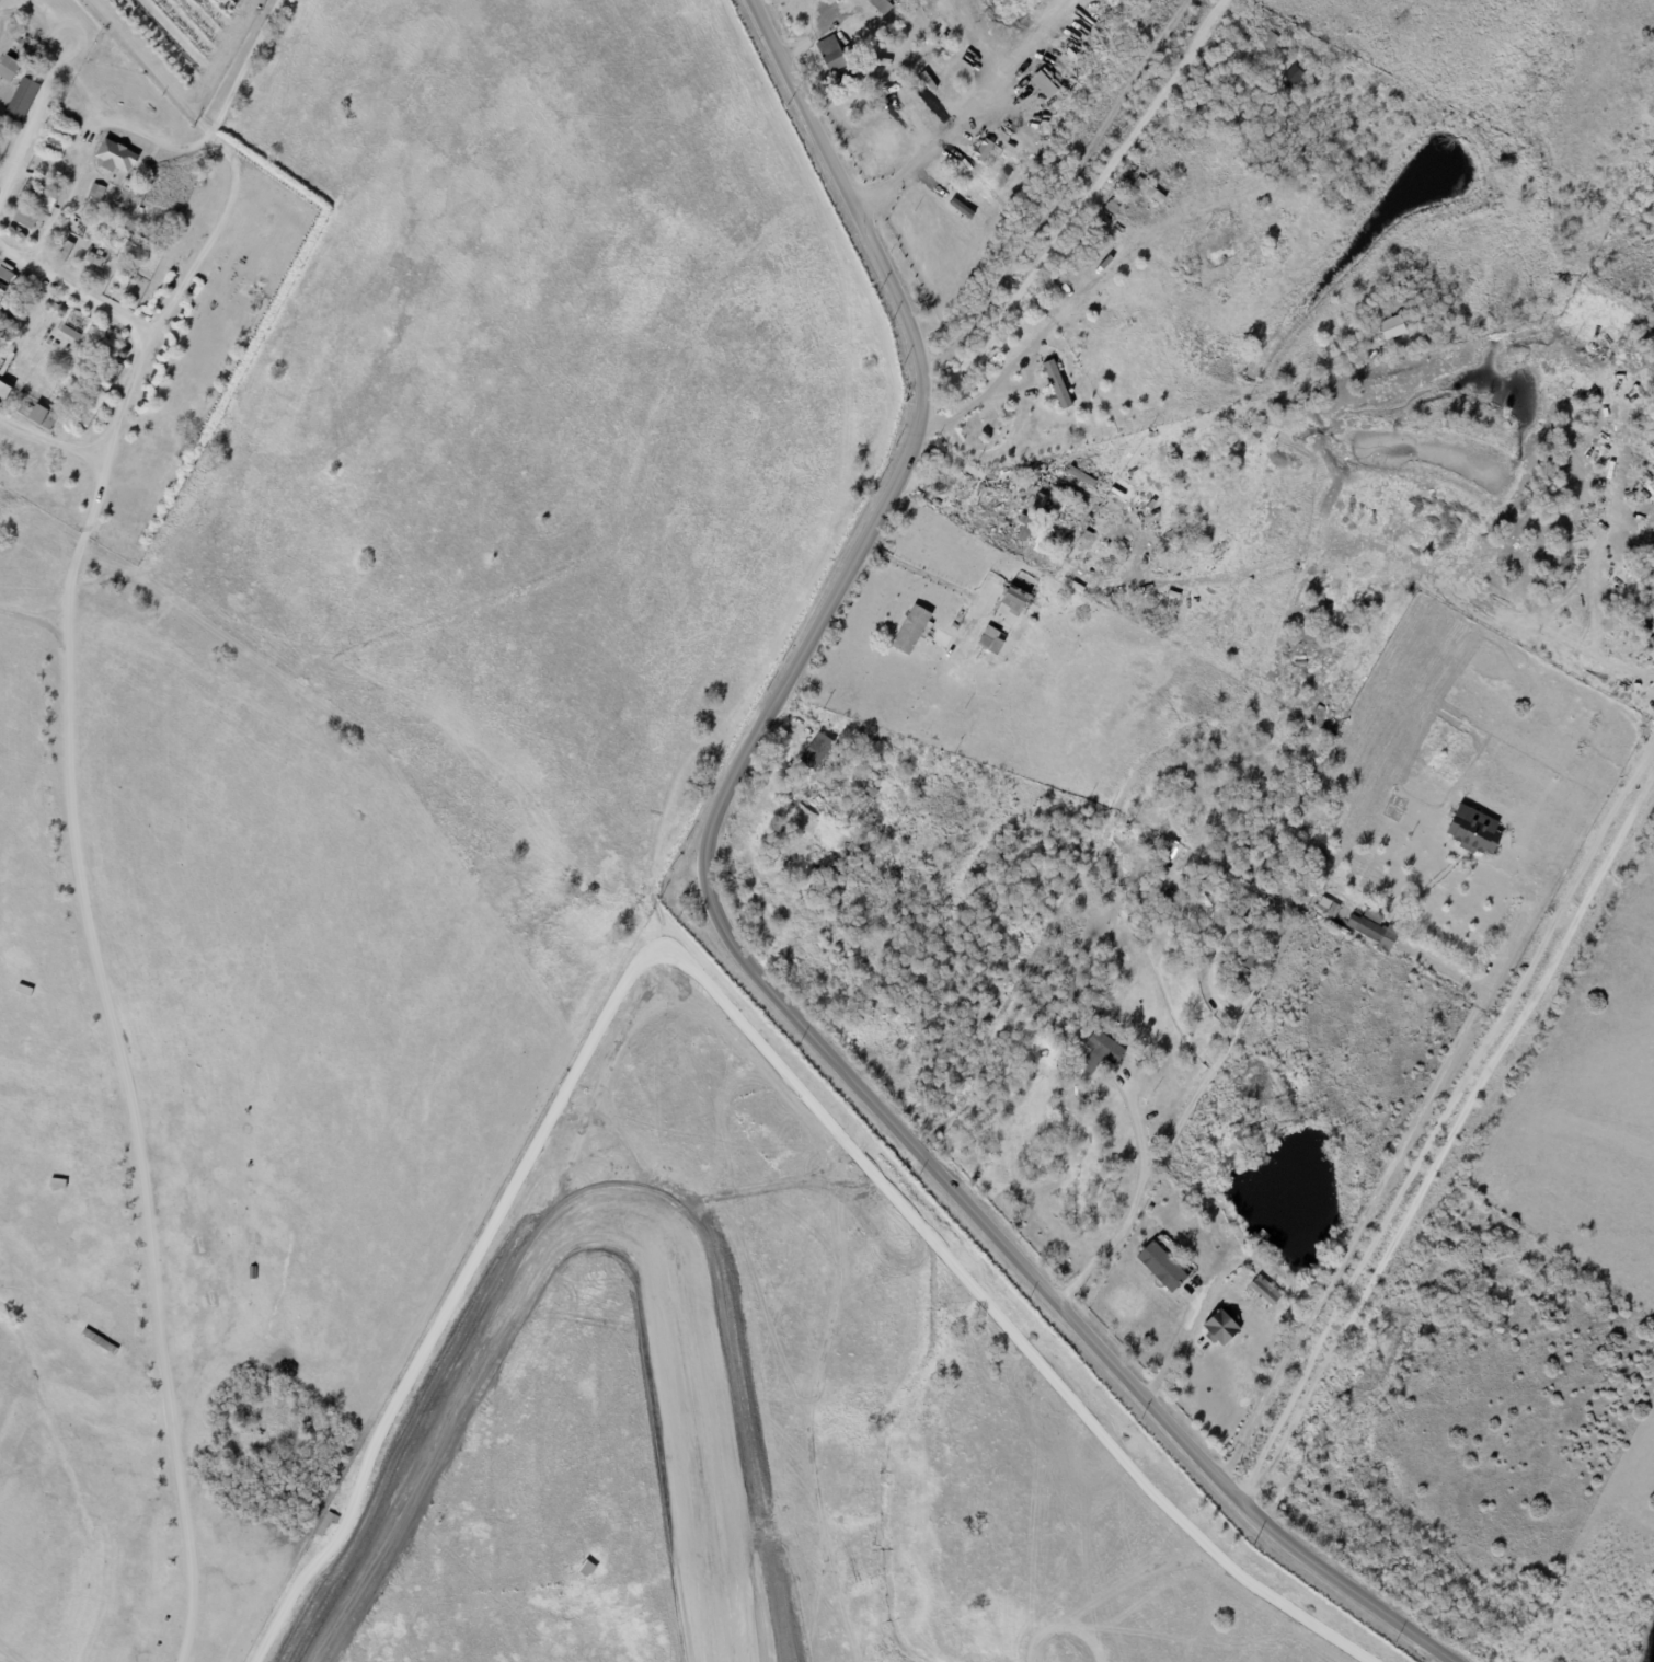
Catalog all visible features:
building: (882, 5)
building: (257, 12)
building: (1272, 39)
building: (832, 56)
building: (34, 67)
building: (9, 68)
building: (1294, 77)
building: (1043, 84)
building: (22, 99)
road: (956, 108)
road: (32, 125)
building: (7, 137)
road: (159, 137)
building: (53, 143)
building: (115, 155)
building: (48, 184)
building: (128, 188)
building: (1148, 189)
building: (97, 191)
road: (1056, 191)
building: (34, 196)
road: (1078, 204)
building: (1114, 205)
building: (961, 211)
building: (26, 217)
building: (116, 234)
building: (129, 236)
building: (65, 250)
building: (93, 259)
road: (1099, 277)
road: (72, 295)
building: (97, 327)
building: (1394, 327)
building: (7, 365)
building: (116, 366)
building: (1060, 378)
building: (4, 390)
building: (93, 404)
building: (38, 414)
building: (49, 420)
road: (50, 436)
road: (949, 457)
building: (1027, 482)
road: (915, 488)
building: (998, 507)
building: (1030, 517)
building: (1647, 517)
building: (1652, 530)
building: (1172, 540)
road: (914, 566)
road: (42, 596)
building: (1016, 600)
building: (955, 626)
building: (912, 630)
building: (993, 639)
building: (817, 751)
building: (830, 801)
building: (860, 806)
road: (71, 807)
building: (1473, 829)
building: (1141, 833)
building: (1301, 844)
building: (1322, 855)
building: (1169, 856)
building: (1297, 867)
building: (828, 873)
building: (1320, 875)
building: (1261, 879)
building: (818, 888)
building: (846, 896)
building: (1170, 897)
building: (1263, 900)
building: (1329, 907)
building: (1206, 915)
building: (1161, 920)
building: (1375, 930)
road: (734, 934)
building: (1244, 980)
building: (1106, 1049)
building: (1069, 1096)
building: (1241, 1136)
road: (1173, 1138)
road: (1449, 1143)
building: (1211, 1153)
building: (1185, 1173)
road: (1377, 1190)
building: (1151, 1209)
building: (1188, 1210)
building: (1163, 1268)
building: (1264, 1293)
building: (1290, 1307)
building: (1222, 1328)
building: (101, 1341)
road: (1178, 1341)
building: (1277, 1348)
building: (326, 1523)
building: (588, 1569)
road: (7, 1657)

